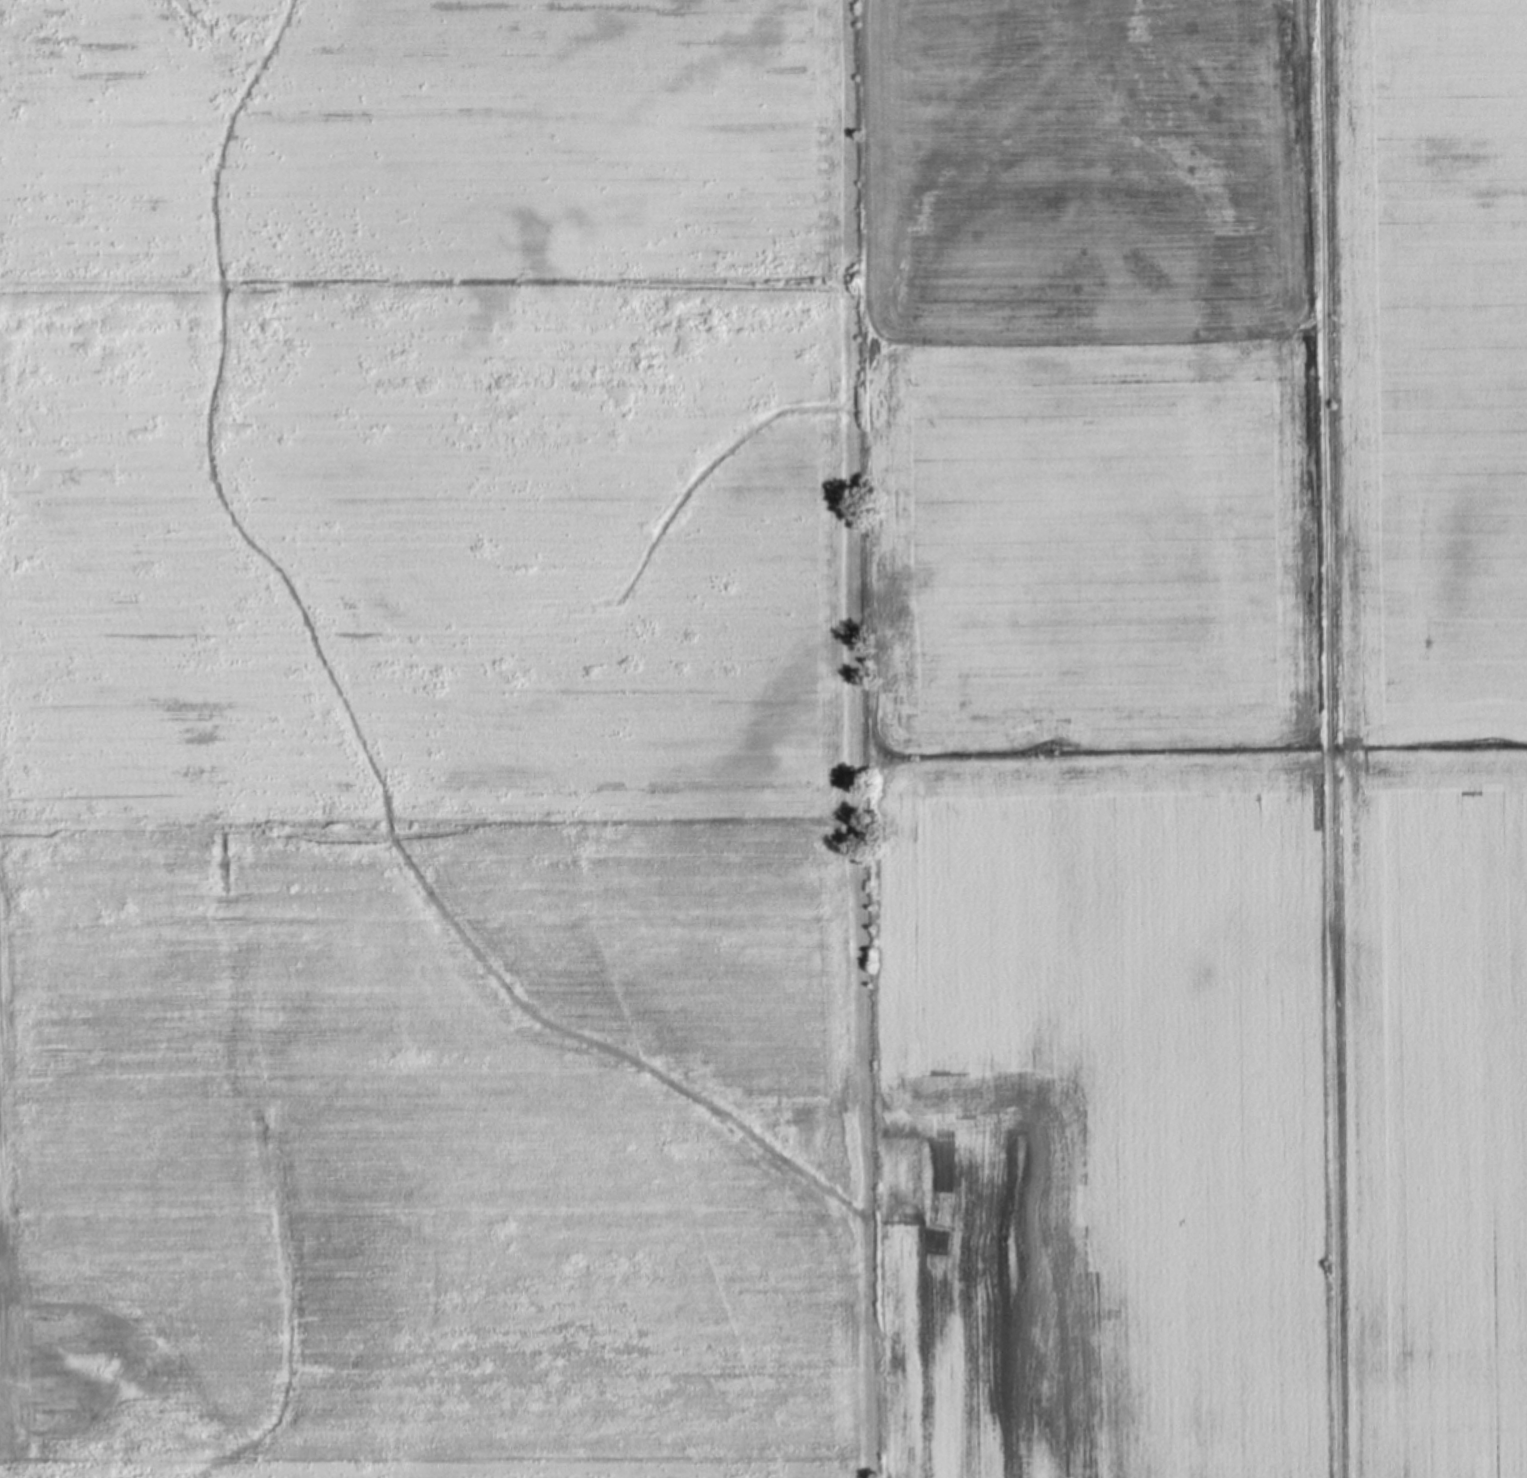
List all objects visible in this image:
road: (1332, 739)

